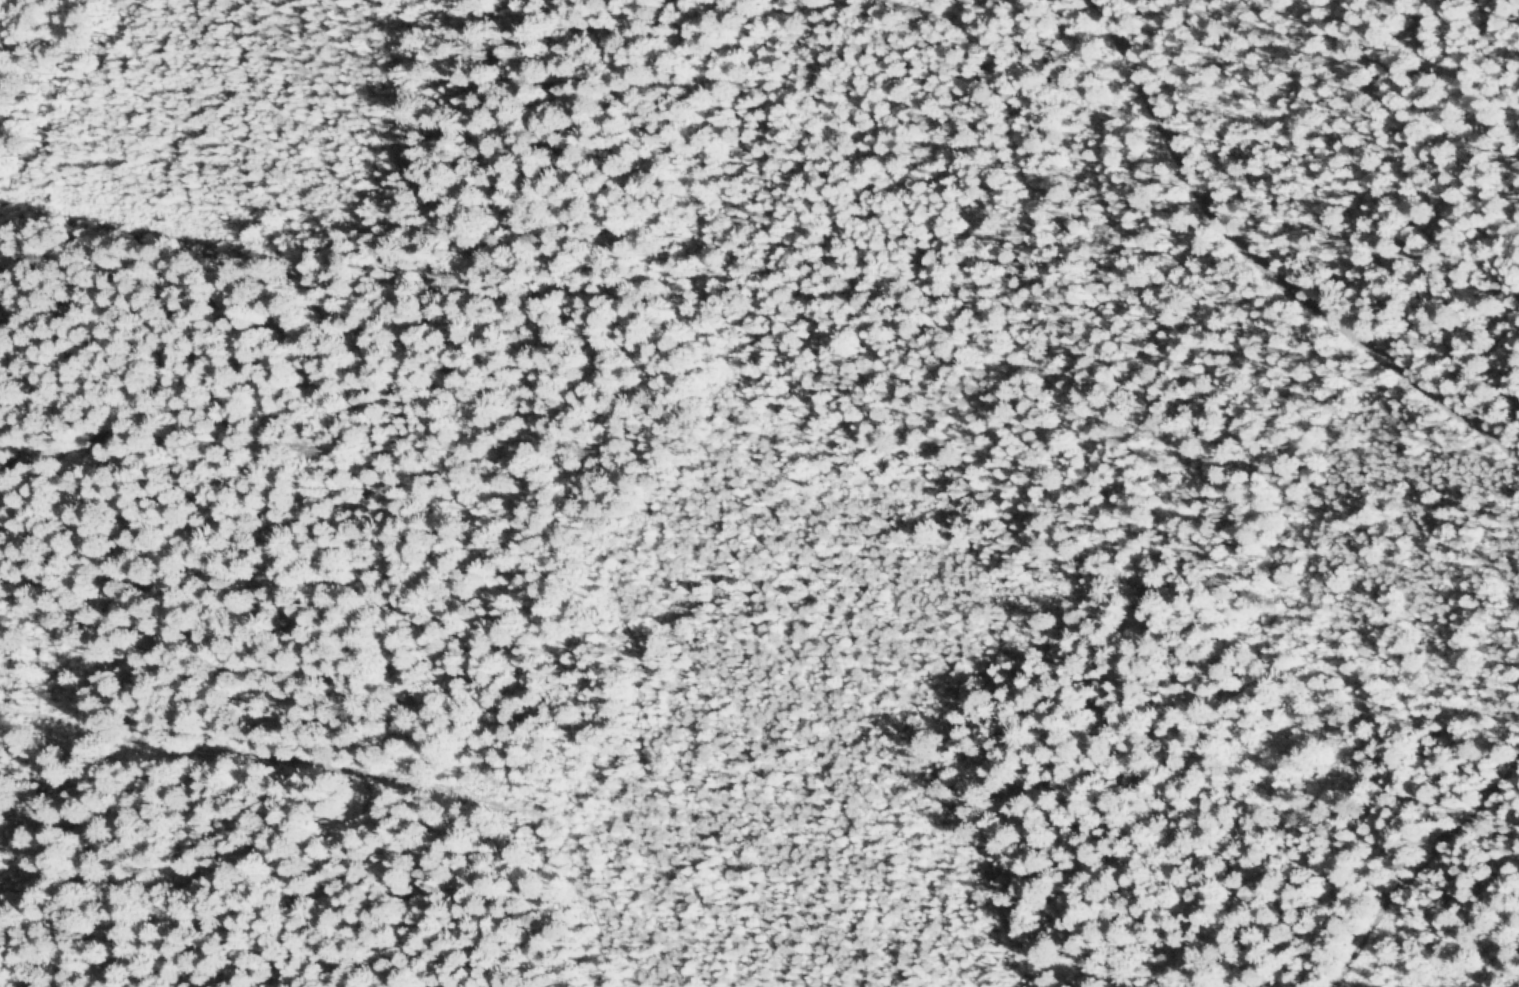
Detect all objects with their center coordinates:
road: (1277, 254)
road: (189, 747)
road: (1420, 868)

